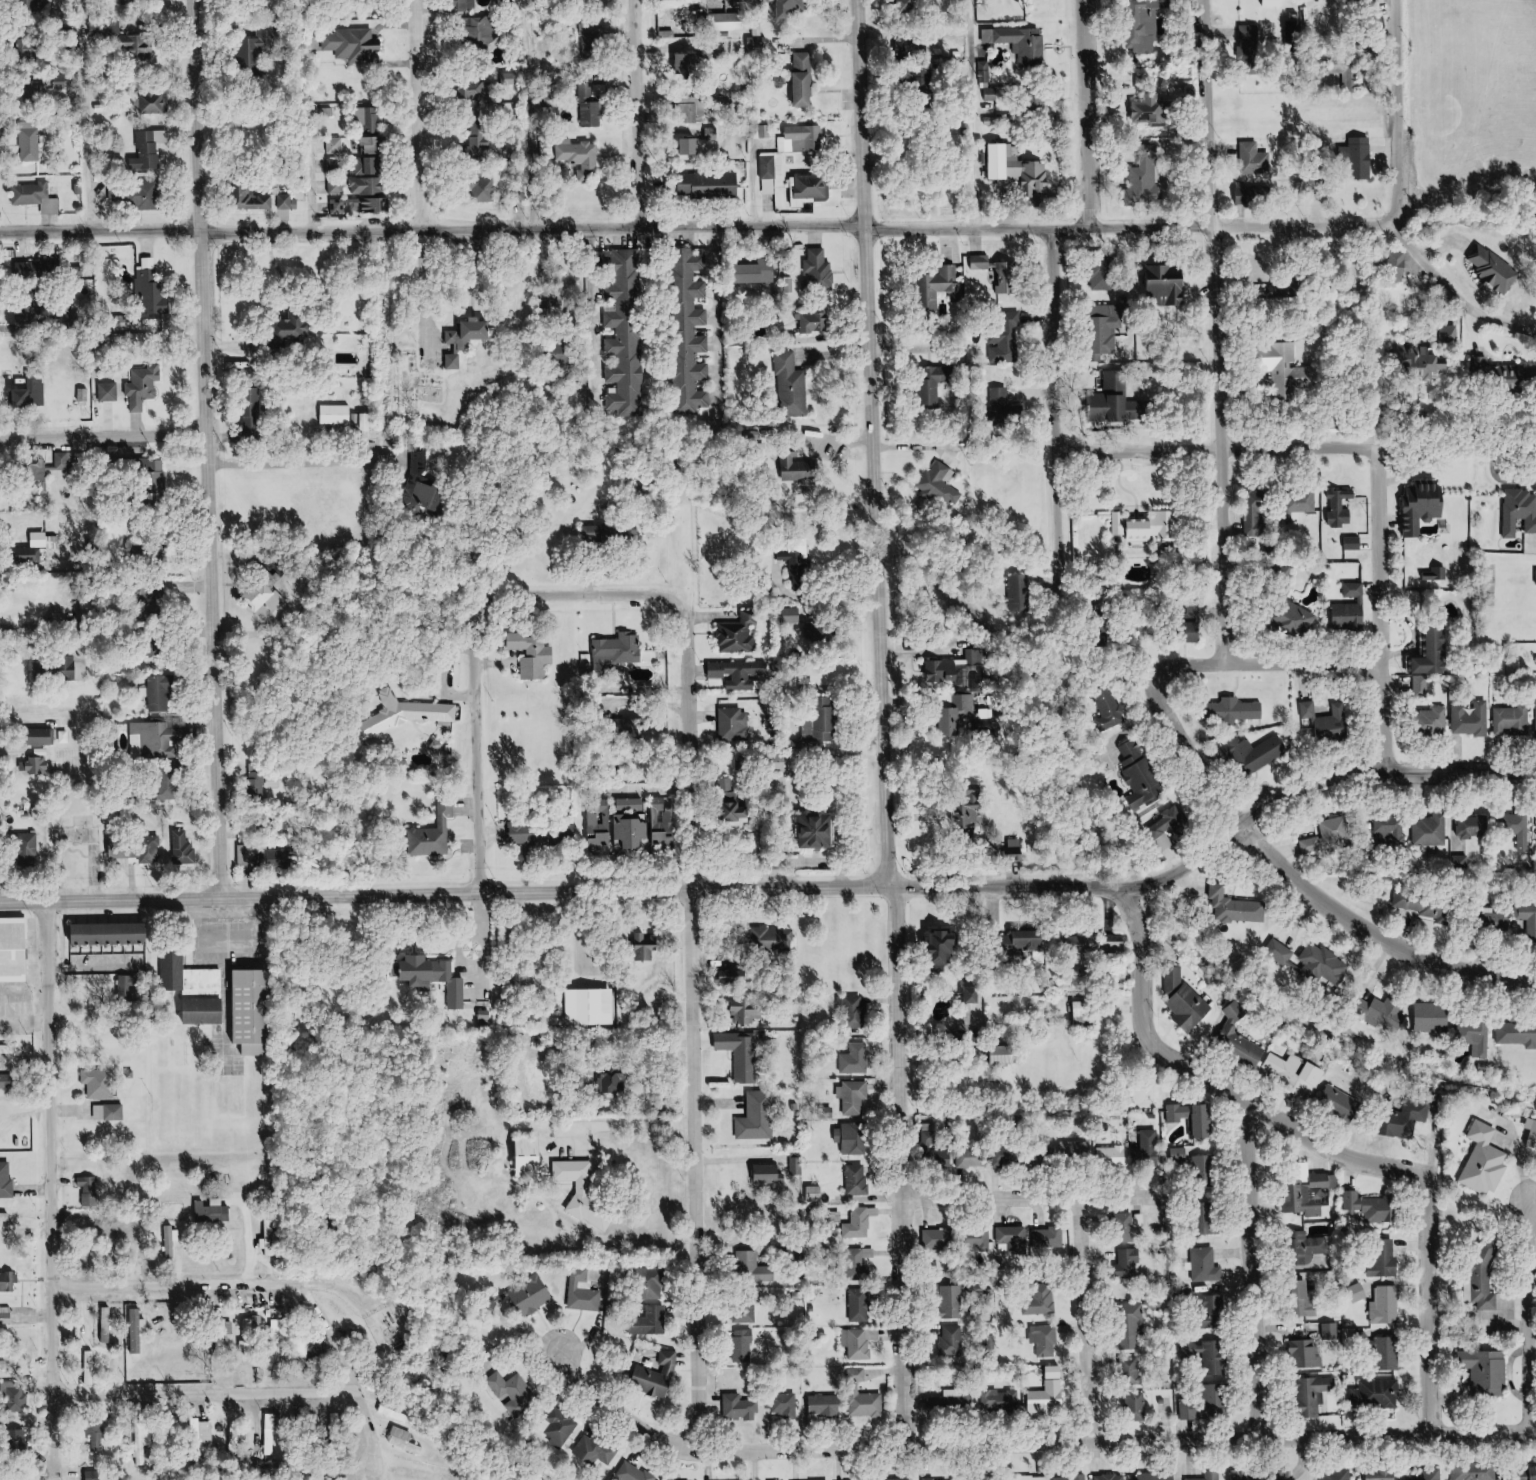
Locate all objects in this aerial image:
building: (136, 1)
building: (1270, 3)
building: (691, 4)
building: (35, 5)
building: (461, 5)
building: (912, 6)
building: (800, 7)
road: (524, 17)
building: (671, 24)
building: (487, 31)
building: (1293, 32)
building: (593, 38)
building: (760, 41)
building: (1022, 42)
building: (911, 43)
building: (355, 44)
building: (142, 46)
building: (29, 48)
building: (259, 48)
building: (1249, 50)
building: (692, 64)
building: (986, 71)
building: (1343, 74)
building: (807, 79)
building: (63, 82)
building: (39, 91)
building: (551, 101)
building: (156, 103)
building: (694, 104)
building: (595, 105)
building: (1154, 110)
road: (638, 114)
road: (1086, 114)
road: (1208, 114)
road: (83, 115)
road: (416, 115)
road: (1392, 117)
building: (370, 119)
building: (713, 134)
building: (482, 138)
building: (804, 139)
building: (32, 141)
building: (379, 145)
building: (336, 146)
building: (695, 146)
building: (150, 150)
building: (582, 158)
building: (1253, 159)
road: (535, 161)
building: (335, 165)
building: (772, 171)
building: (1023, 172)
road: (305, 179)
building: (712, 185)
building: (337, 186)
building: (370, 186)
building: (812, 189)
building: (488, 190)
building: (136, 195)
building: (1251, 196)
building: (38, 197)
building: (252, 198)
building: (289, 201)
building: (361, 206)
road: (787, 226)
building: (982, 262)
building: (1393, 266)
building: (40, 269)
building: (1493, 270)
building: (760, 272)
building: (821, 272)
building: (1007, 277)
building: (1294, 278)
building: (941, 286)
building: (1164, 286)
building: (152, 288)
building: (33, 316)
road: (716, 317)
building: (816, 322)
building: (293, 328)
building: (626, 331)
building: (472, 334)
building: (1109, 334)
building: (693, 336)
building: (1004, 347)
building: (456, 362)
building: (1424, 362)
building: (1288, 373)
building: (1503, 376)
building: (939, 383)
building: (794, 385)
building: (145, 386)
building: (35, 391)
building: (110, 391)
building: (1008, 407)
building: (339, 415)
road: (1058, 421)
building: (368, 422)
road: (102, 436)
road: (1225, 437)
road: (866, 444)
road: (205, 448)
road: (1201, 449)
building: (66, 460)
building: (41, 466)
building: (801, 469)
building: (161, 476)
building: (425, 484)
building: (943, 486)
building: (1297, 505)
building: (1421, 505)
building: (1340, 508)
building: (1255, 513)
building: (1518, 513)
building: (605, 534)
building: (45, 539)
road: (1385, 543)
building: (147, 550)
building: (31, 556)
building: (801, 569)
building: (1021, 593)
road: (536, 594)
building: (267, 600)
building: (89, 607)
building: (1350, 609)
building: (794, 615)
building: (1191, 620)
building: (1294, 621)
building: (741, 633)
building: (819, 634)
road: (1260, 646)
building: (1434, 651)
building: (619, 652)
building: (536, 655)
building: (958, 666)
building: (61, 670)
building: (741, 673)
building: (1422, 689)
building: (161, 693)
building: (1229, 710)
road: (1391, 710)
building: (408, 713)
building: (960, 715)
building: (1470, 719)
building: (1327, 720)
building: (1510, 721)
building: (1431, 723)
building: (823, 724)
building: (736, 725)
building: (634, 727)
building: (46, 737)
building: (160, 740)
building: (43, 753)
building: (1254, 755)
building: (38, 766)
building: (262, 779)
road: (468, 787)
building: (741, 810)
building: (666, 817)
building: (974, 818)
building: (1473, 827)
building: (1169, 829)
building: (1388, 830)
building: (1429, 830)
building: (602, 831)
building: (810, 831)
building: (1517, 831)
building: (437, 832)
building: (536, 835)
building: (1328, 835)
road: (1217, 846)
building: (184, 848)
building: (1018, 848)
building: (139, 849)
building: (29, 850)
building: (267, 857)
road: (1311, 884)
road: (442, 891)
building: (1427, 907)
building: (1235, 909)
building: (1527, 922)
building: (1495, 924)
building: (103, 933)
building: (773, 939)
building: (1095, 943)
building: (1028, 944)
building: (647, 946)
building: (949, 949)
building: (9, 951)
building: (1278, 954)
building: (1323, 964)
road: (91, 968)
building: (175, 970)
building: (437, 977)
building: (734, 977)
building: (130, 986)
building: (208, 996)
building: (977, 996)
road: (685, 1003)
building: (1185, 1003)
building: (592, 1006)
building: (855, 1009)
building: (1084, 1010)
building: (259, 1011)
building: (1386, 1012)
building: (486, 1017)
building: (1432, 1017)
building: (1516, 1034)
building: (1234, 1036)
building: (1475, 1036)
building: (10, 1050)
building: (742, 1053)
building: (1008, 1055)
building: (857, 1059)
building: (1297, 1075)
building: (8, 1081)
building: (613, 1081)
building: (101, 1083)
road: (1219, 1083)
building: (855, 1097)
building: (1340, 1105)
building: (111, 1112)
building: (759, 1117)
building: (1196, 1119)
building: (1409, 1120)
building: (855, 1138)
building: (1074, 1148)
building: (535, 1156)
building: (1006, 1156)
building: (971, 1157)
building: (1484, 1164)
building: (796, 1166)
road: (892, 1167)
building: (1203, 1173)
building: (770, 1174)
building: (859, 1179)
building: (2, 1184)
building: (91, 1186)
road: (29, 1190)
road: (52, 1190)
building: (584, 1191)
building: (818, 1193)
building: (1306, 1193)
road: (1029, 1200)
building: (1352, 1203)
building: (1383, 1209)
building: (215, 1211)
building: (6, 1217)
building: (1204, 1219)
building: (862, 1222)
building: (939, 1237)
building: (1014, 1238)
building: (1049, 1238)
building: (981, 1240)
building: (174, 1241)
building: (272, 1246)
building: (1307, 1249)
building: (1382, 1259)
building: (1132, 1262)
building: (757, 1267)
building: (1204, 1267)
road: (1261, 1271)
building: (1483, 1276)
road: (235, 1280)
building: (9, 1282)
building: (585, 1290)
building: (1356, 1293)
building: (534, 1294)
building: (1305, 1300)
building: (954, 1301)
building: (1040, 1303)
building: (862, 1305)
building: (1385, 1307)
building: (1212, 1313)
road: (1435, 1313)
building: (8, 1315)
road: (1535, 1316)
building: (654, 1321)
road: (1080, 1321)
building: (110, 1325)
building: (138, 1331)
building: (282, 1332)
building: (1330, 1332)
building: (252, 1334)
building: (954, 1339)
building: (1047, 1340)
building: (860, 1343)
building: (745, 1345)
building: (1305, 1355)
building: (1385, 1355)
building: (1214, 1358)
building: (4, 1364)
building: (93, 1368)
building: (1485, 1373)
building: (860, 1374)
building: (659, 1376)
building: (513, 1388)
road: (253, 1392)
building: (17, 1395)
building: (1312, 1396)
building: (1376, 1396)
building: (1049, 1397)
building: (1000, 1399)
building: (1217, 1402)
building: (952, 1403)
building: (787, 1404)
building: (869, 1404)
building: (828, 1405)
building: (743, 1407)
building: (1189, 1409)
building: (395, 1413)
road: (614, 1419)
building: (564, 1428)
building: (276, 1431)
building: (205, 1433)
building: (239, 1437)
building: (99, 1438)
building: (407, 1441)
road: (1091, 1441)
building: (143, 1445)
building: (597, 1450)
building: (635, 1472)
building: (1479, 1473)
building: (1529, 1473)
building: (1281, 1474)
building: (1336, 1474)
building: (97, 1475)
building: (1211, 1475)
building: (1247, 1475)
building: (1382, 1475)
building: (1425, 1476)
building: (1112, 1477)
building: (1155, 1477)
building: (1030, 1478)
building: (1072, 1478)
building: (898, 1479)
building: (950, 1479)

